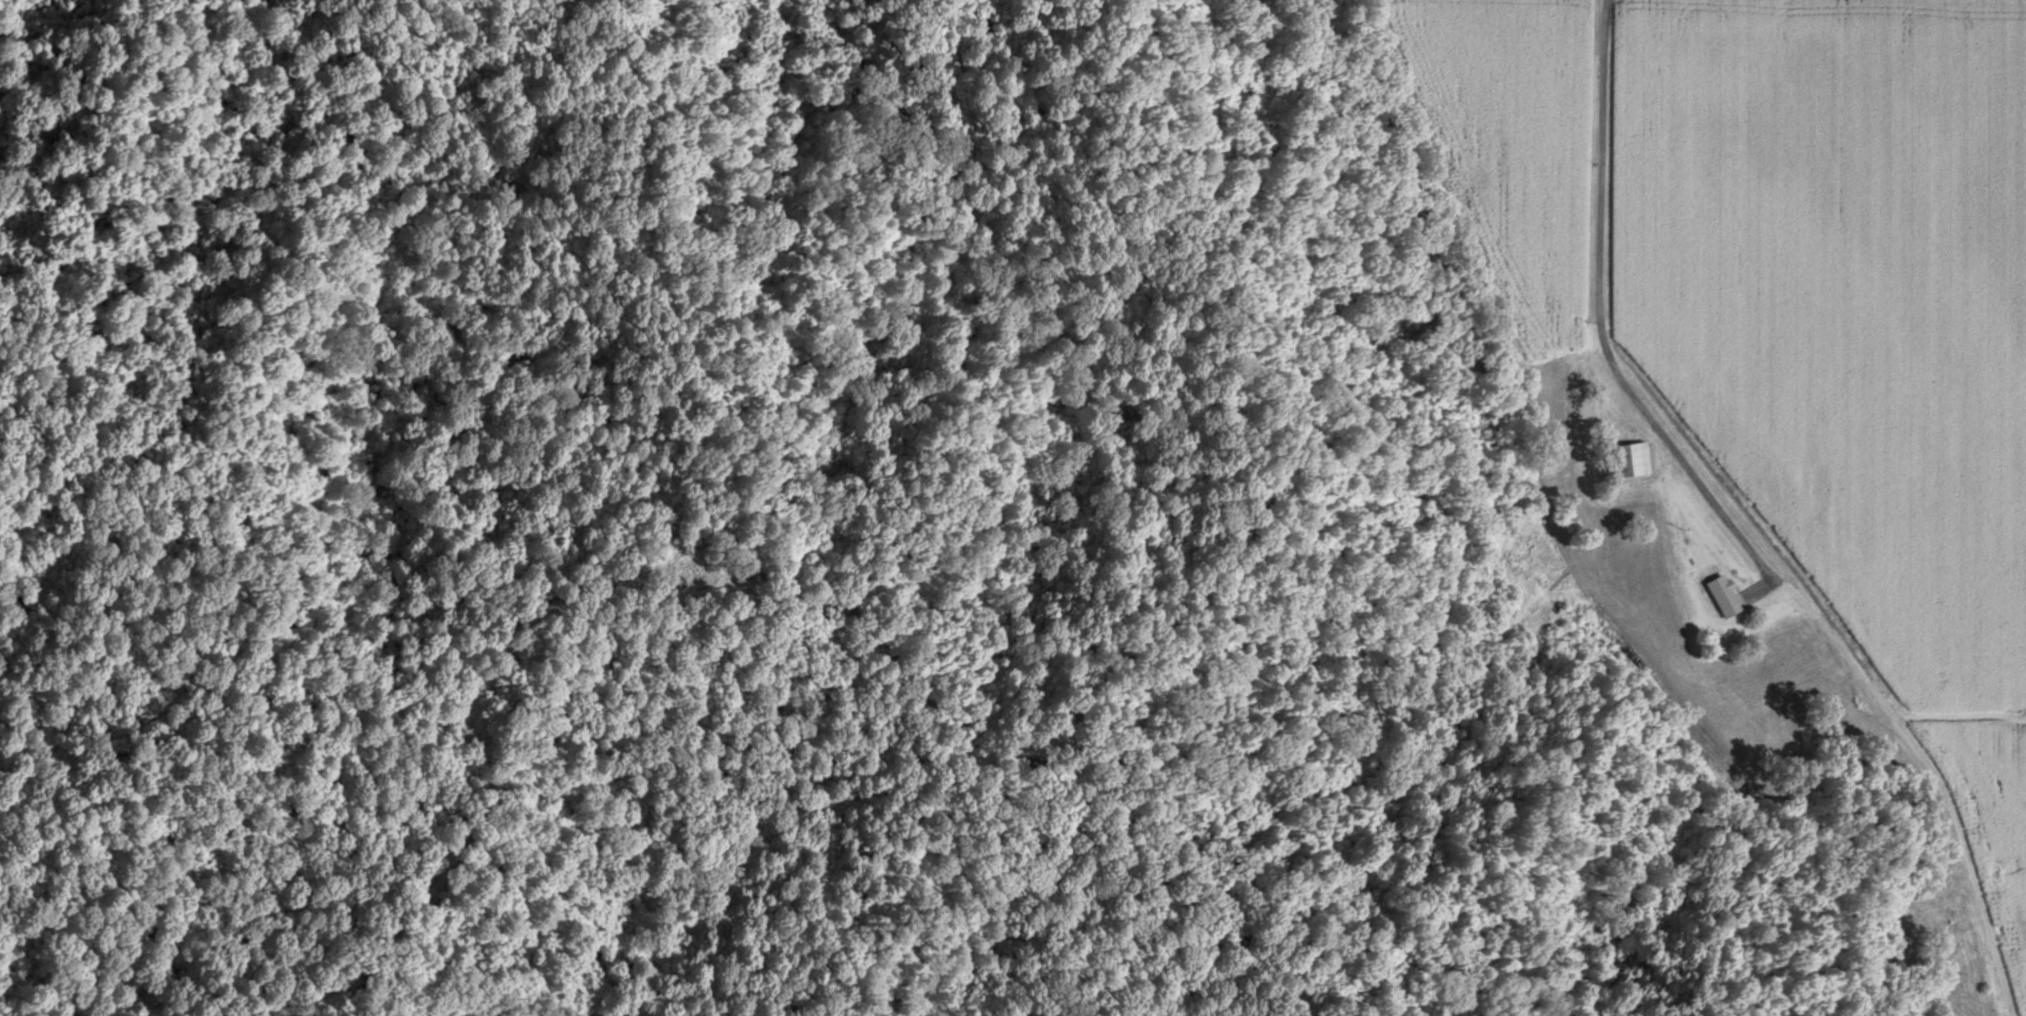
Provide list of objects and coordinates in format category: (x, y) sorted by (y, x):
road: (1599, 330)
building: (1630, 458)
building: (1725, 594)

